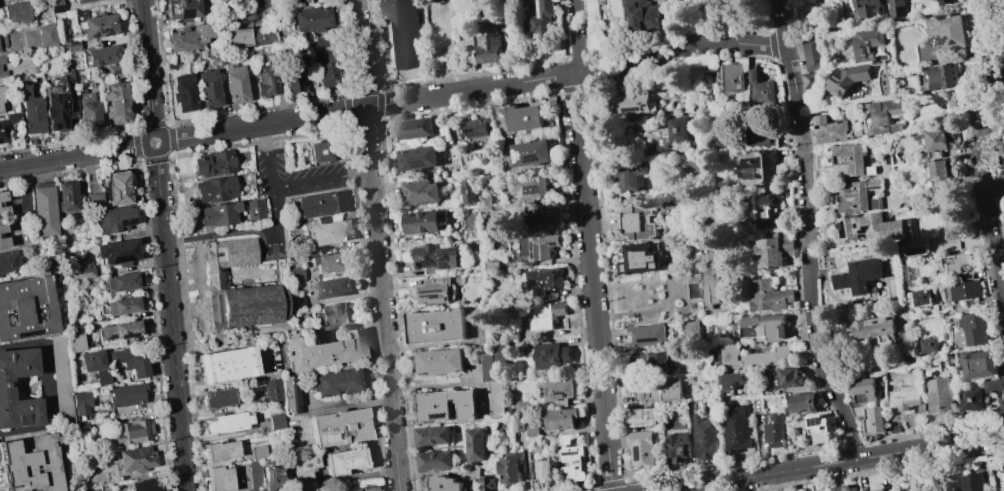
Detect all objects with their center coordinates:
building: (529, 0)
building: (81, 1)
building: (947, 1)
building: (259, 3)
building: (868, 7)
building: (897, 7)
building: (182, 8)
building: (17, 12)
rooftop solar panel: (183, 12)
building: (464, 12)
building: (641, 14)
building: (541, 16)
building: (311, 19)
road: (783, 22)
building: (98, 26)
building: (948, 29)
rooftop solar panel: (100, 30)
building: (402, 34)
building: (39, 37)
building: (192, 37)
building: (250, 38)
building: (867, 43)
building: (489, 48)
building: (103, 55)
building: (813, 56)
building: (1, 60)
road: (146, 66)
building: (112, 72)
building: (327, 72)
building: (3, 73)
building: (291, 75)
building: (942, 76)
building: (67, 77)
building: (732, 77)
building: (847, 79)
building: (267, 80)
building: (809, 80)
building: (235, 84)
building: (759, 88)
building: (208, 89)
road: (476, 89)
building: (183, 93)
building: (1, 96)
building: (956, 100)
building: (116, 103)
building: (632, 105)
building: (55, 107)
rooftop solar panel: (632, 109)
building: (31, 110)
building: (87, 111)
building: (885, 115)
building: (13, 117)
building: (523, 117)
building: (475, 127)
building: (415, 128)
building: (3, 130)
building: (675, 130)
building: (828, 131)
building: (764, 133)
road: (993, 134)
building: (937, 139)
building: (723, 144)
road: (982, 148)
building: (1001, 148)
building: (328, 150)
road: (153, 153)
building: (531, 153)
rooftop solar panel: (518, 155)
road: (71, 156)
rooftop solar panel: (531, 157)
building: (417, 158)
building: (848, 159)
rooftop solar panel: (420, 162)
building: (214, 163)
building: (690, 165)
building: (758, 167)
building: (940, 172)
building: (630, 175)
road: (967, 176)
road: (292, 184)
building: (118, 188)
building: (531, 188)
building: (216, 189)
parking lot: (289, 189)
building: (469, 191)
road: (995, 191)
building: (420, 192)
building: (2, 196)
building: (66, 196)
building: (861, 196)
building: (95, 200)
building: (485, 202)
building: (23, 203)
building: (320, 204)
building: (764, 206)
building: (254, 209)
building: (3, 211)
building: (43, 211)
building: (218, 214)
building: (542, 217)
building: (113, 219)
building: (422, 221)
building: (496, 223)
rooftop solar panel: (126, 224)
rooftop solar panel: (859, 225)
building: (634, 226)
building: (871, 227)
building: (2, 228)
rooftop solar panel: (866, 228)
road: (240, 230)
rooftop solar panel: (846, 230)
building: (327, 233)
building: (3, 242)
road: (378, 245)
road: (590, 245)
building: (539, 246)
building: (916, 246)
building: (773, 250)
building: (116, 251)
road: (808, 255)
building: (436, 258)
rooftop solar panel: (445, 258)
building: (642, 258)
building: (8, 261)
rooftop solar panel: (430, 261)
building: (331, 262)
rooftop solar panel: (447, 265)
building: (961, 266)
building: (78, 273)
building: (859, 275)
building: (122, 281)
building: (543, 281)
building: (334, 287)
building: (438, 289)
building: (705, 289)
building: (967, 290)
building: (237, 291)
rooftop solar panel: (434, 291)
rooftop solar panel: (435, 296)
building: (768, 296)
road: (816, 296)
building: (922, 297)
building: (121, 305)
building: (26, 308)
road: (645, 311)
building: (336, 313)
building: (545, 315)
road: (171, 321)
building: (482, 324)
building: (435, 326)
building: (763, 327)
building: (872, 327)
building: (117, 330)
building: (690, 330)
building: (974, 330)
rooftop solar panel: (98, 332)
rooftop solar panel: (25, 334)
building: (646, 334)
rooftop solar panel: (128, 335)
rooftop solar panel: (110, 336)
rooftop solar panel: (630, 336)
building: (74, 340)
rooftop solar panel: (650, 340)
road: (443, 343)
building: (929, 345)
building: (323, 351)
building: (501, 351)
building: (551, 355)
building: (658, 356)
building: (754, 357)
building: (440, 361)
building: (129, 362)
building: (226, 364)
building: (980, 364)
building: (95, 366)
building: (486, 367)
building: (60, 376)
building: (791, 377)
building: (733, 380)
building: (335, 381)
building: (994, 385)
building: (5, 387)
road: (44, 387)
road: (433, 388)
rooftop solar panel: (641, 389)
rooftop solar panel: (647, 389)
building: (658, 390)
building: (273, 391)
rooftop solar panel: (546, 391)
building: (559, 391)
rooftop solar panel: (560, 392)
building: (941, 394)
building: (126, 395)
building: (290, 395)
building: (219, 398)
building: (904, 398)
building: (971, 399)
building: (496, 400)
building: (803, 402)
building: (80, 403)
building: (446, 404)
building: (1002, 404)
building: (521, 406)
building: (867, 406)
road: (333, 407)
rooftop solar panel: (440, 415)
building: (640, 417)
building: (560, 419)
rooftop solar panel: (815, 419)
building: (277, 422)
building: (227, 423)
building: (516, 425)
rooftop solar panel: (826, 427)
building: (340, 428)
building: (819, 428)
building: (737, 429)
building: (774, 430)
building: (132, 431)
building: (531, 431)
building: (433, 436)
building: (704, 436)
building: (582, 439)
rooftop solar panel: (669, 442)
building: (476, 444)
building: (533, 444)
building: (677, 444)
building: (641, 448)
building: (222, 451)
building: (258, 452)
rooftop solar panel: (637, 452)
rooftop solar panel: (678, 454)
building: (571, 458)
building: (136, 459)
building: (435, 460)
building: (345, 461)
road: (834, 463)
building: (1002, 464)
building: (30, 465)
building: (510, 468)
building: (303, 470)
building: (542, 470)
building: (254, 475)
building: (275, 477)
building: (220, 479)
building: (972, 482)
building: (486, 483)
building: (441, 484)
building: (145, 485)
building: (367, 488)
road: (694, 488)
building: (844, 489)
building: (914, 489)
building: (351, 490)
building: (877, 490)
building: (884, 490)
building: (985, 490)

